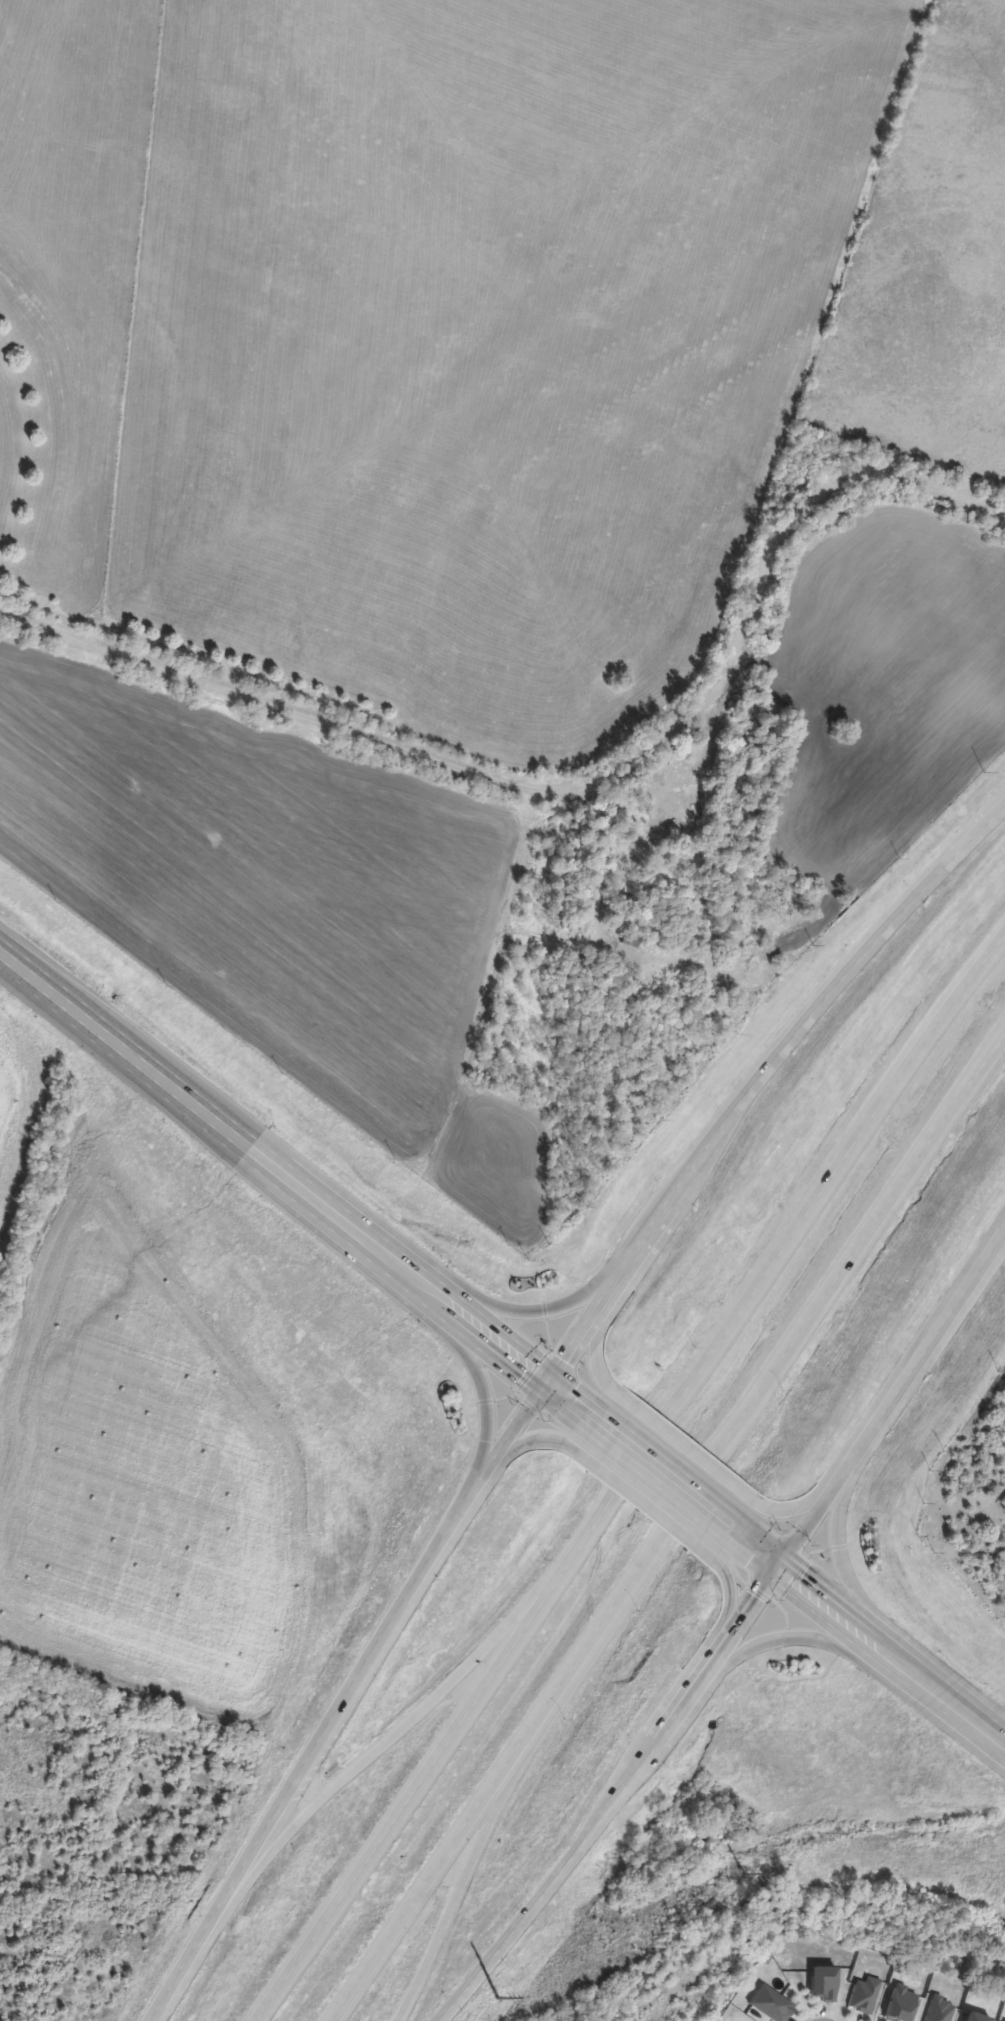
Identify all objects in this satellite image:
road: (984, 1065)
road: (755, 1075)
road: (211, 1119)
road: (539, 1310)
road: (486, 1333)
road: (595, 1345)
traffic signals: (547, 1381)
road: (478, 1383)
road: (891, 1397)
road: (571, 1401)
road: (508, 1436)
road: (529, 1441)
road: (683, 1446)
road: (627, 1475)
road: (663, 1475)
road: (811, 1497)
road: (634, 1500)
road: (754, 1548)
road: (645, 1553)
road: (840, 1559)
traffic signals: (777, 1566)
road: (728, 1599)
road: (739, 1618)
road: (795, 1638)
road: (890, 1656)
road: (427, 1702)
road: (309, 1754)
road: (505, 1791)
road: (576, 1852)
power tower: (740, 1876)

